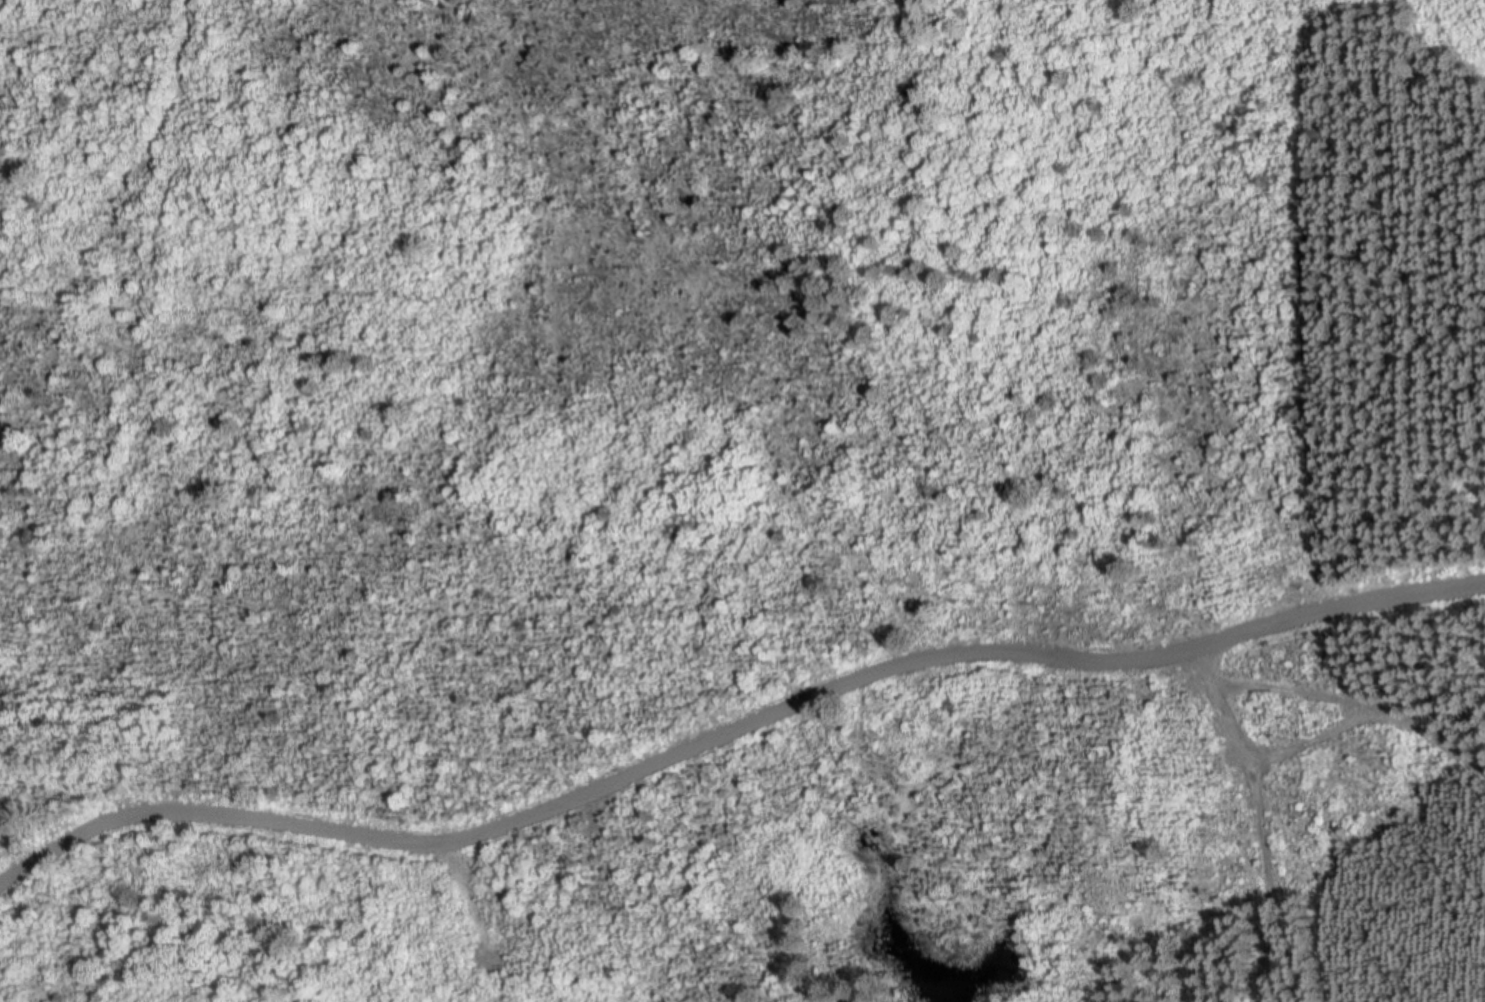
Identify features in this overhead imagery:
road: (733, 740)

